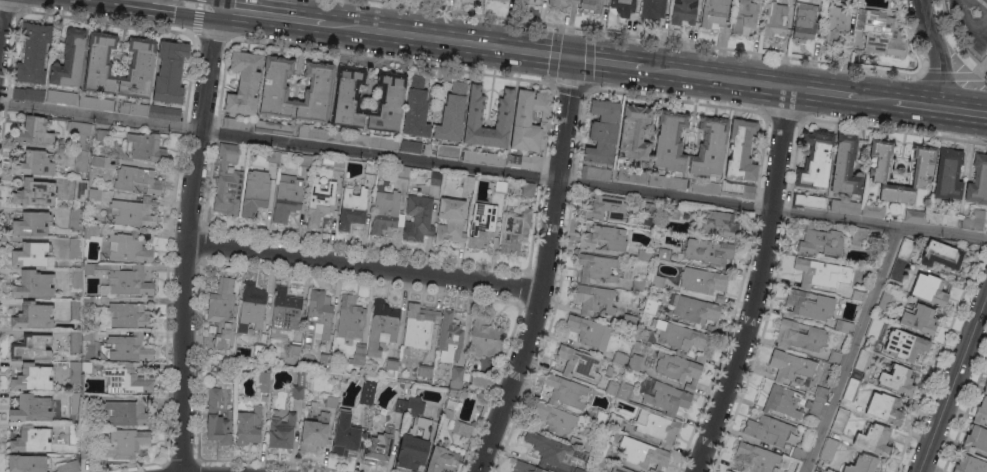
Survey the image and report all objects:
road: (383, 0)
building: (500, 0)
building: (522, 0)
building: (571, 1)
building: (554, 2)
road: (185, 4)
road: (979, 4)
building: (592, 5)
road: (0, 7)
building: (623, 7)
road: (9, 8)
building: (653, 9)
building: (683, 11)
building: (715, 13)
road: (196, 16)
road: (271, 16)
building: (744, 17)
building: (775, 19)
building: (805, 21)
road: (106, 22)
building: (835, 24)
building: (883, 34)
road: (211, 36)
road: (957, 36)
road: (447, 40)
road: (686, 43)
road: (936, 52)
building: (32, 53)
traffic signals: (571, 57)
building: (69, 59)
road: (389, 60)
road: (607, 61)
building: (99, 64)
road: (980, 68)
building: (140, 70)
building: (170, 72)
road: (947, 75)
road: (715, 77)
building: (243, 83)
building: (276, 88)
road: (568, 88)
road: (822, 91)
building: (316, 93)
building: (28, 94)
building: (61, 97)
building: (348, 97)
road: (873, 98)
road: (675, 100)
building: (388, 102)
building: (96, 103)
road: (938, 107)
building: (134, 108)
building: (416, 108)
building: (503, 112)
building: (164, 113)
building: (451, 113)
road: (783, 115)
building: (529, 120)
building: (237, 123)
building: (273, 127)
building: (35, 130)
road: (894, 130)
building: (602, 131)
building: (80, 133)
building: (312, 133)
building: (634, 133)
building: (101, 135)
building: (362, 139)
building: (669, 141)
building: (410, 146)
building: (709, 146)
building: (147, 147)
building: (741, 150)
building: (448, 151)
building: (124, 155)
building: (273, 156)
building: (483, 157)
building: (80, 160)
building: (306, 160)
building: (815, 160)
building: (98, 161)
building: (525, 161)
building: (334, 162)
building: (34, 163)
building: (845, 166)
building: (370, 168)
building: (882, 168)
road: (493, 170)
building: (403, 172)
building: (918, 172)
building: (595, 173)
building: (948, 174)
building: (632, 175)
building: (435, 178)
building: (137, 180)
building: (228, 181)
building: (667, 181)
building: (978, 181)
building: (468, 182)
building: (507, 187)
building: (706, 187)
building: (528, 189)
building: (739, 189)
building: (33, 193)
building: (80, 193)
building: (255, 193)
building: (94, 194)
building: (895, 195)
building: (287, 197)
building: (808, 200)
building: (319, 201)
building: (353, 206)
building: (845, 206)
building: (605, 208)
building: (384, 209)
building: (650, 209)
building: (872, 210)
building: (132, 212)
building: (674, 212)
building: (916, 216)
building: (418, 217)
building: (943, 218)
building: (75, 219)
building: (106, 220)
building: (974, 220)
building: (450, 221)
building: (30, 223)
building: (717, 223)
building: (481, 224)
building: (90, 230)
building: (514, 231)
building: (858, 236)
building: (605, 238)
road: (186, 239)
building: (820, 242)
building: (873, 242)
building: (129, 248)
building: (75, 249)
building: (905, 249)
building: (711, 252)
building: (31, 254)
building: (664, 254)
building: (646, 255)
building: (941, 255)
building: (101, 256)
road: (364, 266)
building: (596, 268)
road: (544, 269)
building: (898, 269)
building: (826, 275)
building: (76, 279)
building: (121, 279)
building: (657, 280)
building: (704, 282)
road: (755, 283)
building: (33, 284)
building: (638, 285)
building: (930, 289)
building: (594, 299)
building: (885, 299)
building: (88, 302)
building: (809, 305)
building: (651, 306)
building: (251, 307)
building: (76, 310)
building: (222, 311)
building: (696, 311)
building: (285, 313)
building: (129, 315)
building: (32, 316)
building: (317, 316)
building: (350, 317)
building: (919, 318)
building: (629, 321)
building: (419, 326)
building: (843, 326)
building: (382, 327)
building: (873, 328)
building: (589, 331)
building: (88, 335)
building: (800, 335)
building: (449, 337)
building: (484, 337)
building: (683, 338)
building: (639, 340)
building: (76, 341)
building: (905, 345)
building: (31, 347)
building: (129, 347)
building: (259, 349)
road: (853, 349)
building: (294, 350)
building: (358, 355)
building: (102, 356)
building: (834, 356)
building: (619, 357)
building: (325, 359)
building: (861, 359)
building: (635, 362)
building: (579, 363)
building: (392, 364)
building: (790, 365)
building: (91, 367)
building: (678, 369)
building: (425, 370)
building: (609, 370)
building: (75, 372)
building: (32, 377)
building: (456, 377)
building: (897, 379)
building: (127, 380)
building: (479, 380)
building: (799, 380)
building: (263, 381)
road: (952, 382)
building: (299, 386)
building: (409, 386)
building: (612, 388)
building: (985, 388)
building: (851, 389)
building: (624, 391)
building: (367, 392)
building: (454, 392)
building: (566, 392)
building: (668, 398)
building: (783, 401)
building: (817, 401)
building: (326, 402)
building: (402, 403)
building: (416, 406)
building: (30, 408)
building: (884, 408)
building: (127, 412)
building: (981, 412)
building: (448, 413)
building: (600, 417)
building: (71, 418)
building: (558, 419)
building: (840, 419)
building: (217, 420)
building: (614, 421)
building: (249, 426)
building: (656, 427)
building: (460, 428)
building: (768, 430)
building: (281, 432)
building: (315, 433)
building: (345, 434)
building: (30, 439)
building: (874, 439)
building: (975, 439)
building: (127, 443)
building: (581, 443)
building: (378, 444)
building: (413, 445)
building: (86, 449)
building: (603, 449)
building: (828, 449)
building: (555, 452)
building: (642, 453)
building: (797, 453)
building: (757, 457)
building: (442, 460)
building: (26, 463)
building: (862, 464)
building: (969, 464)
building: (68, 466)
building: (526, 467)
building: (619, 469)
building: (579, 470)
building: (728, 471)
building: (731, 471)
building: (815, 471)

